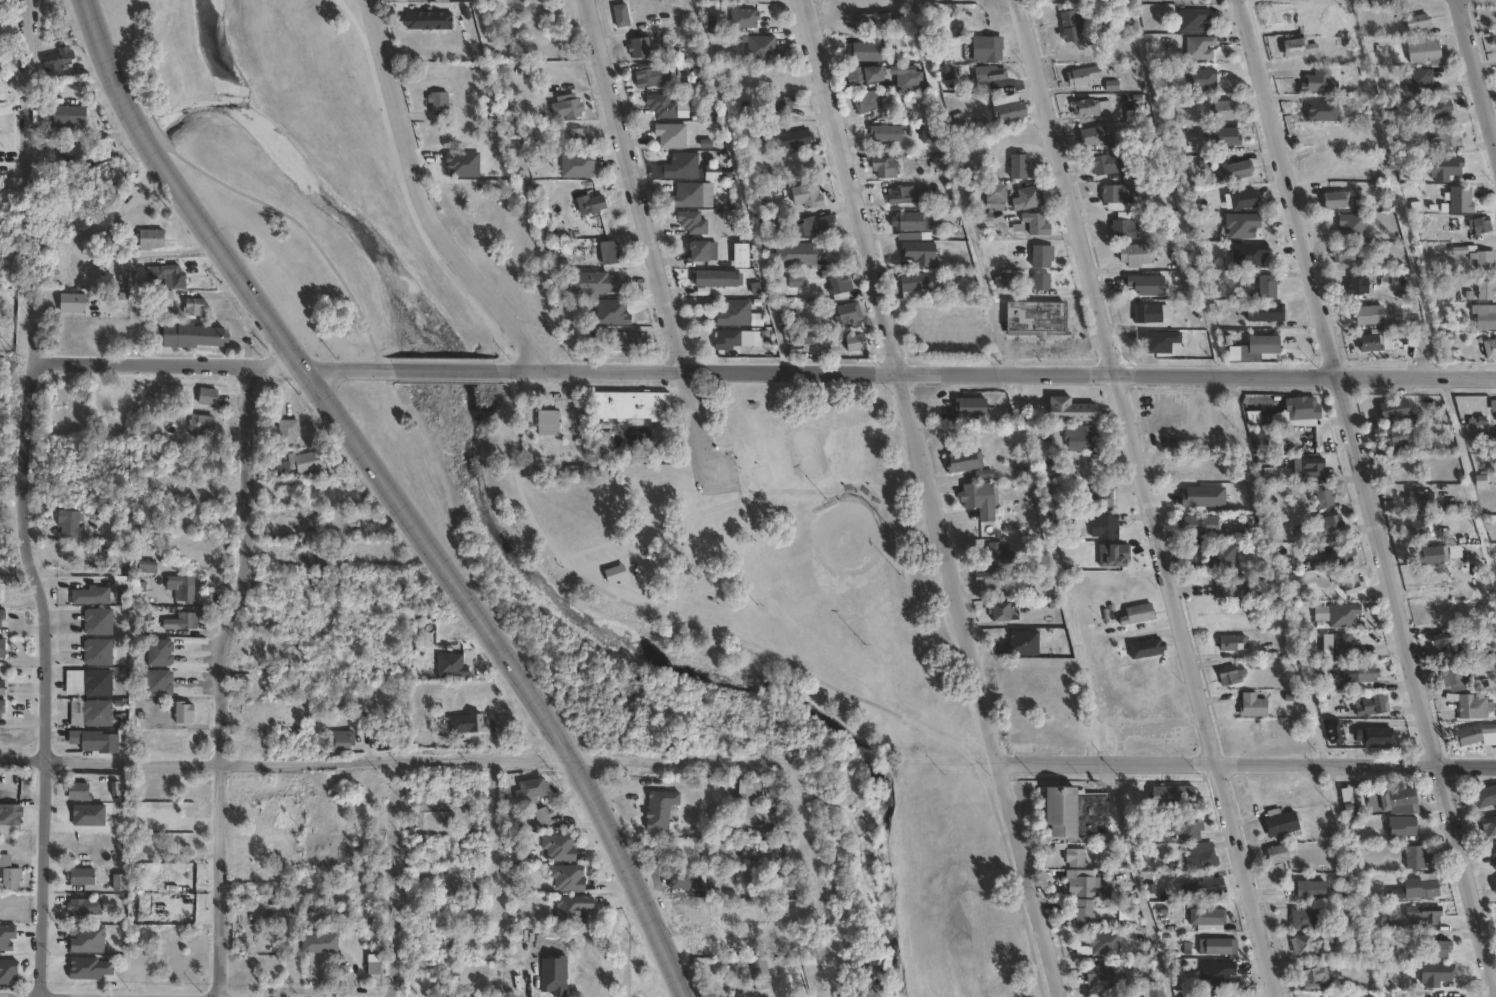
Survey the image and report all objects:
building: (618, 15)
building: (742, 18)
building: (1069, 19)
building: (416, 20)
building: (871, 20)
building: (1193, 20)
building: (1417, 21)
building: (1106, 23)
building: (636, 47)
building: (760, 47)
building: (1199, 47)
building: (1298, 47)
building: (985, 48)
building: (867, 49)
building: (1423, 51)
building: (59, 60)
road: (1477, 70)
building: (988, 73)
building: (863, 74)
building: (909, 74)
building: (1082, 75)
building: (652, 76)
building: (1417, 80)
building: (1318, 81)
road: (28, 86)
building: (866, 100)
building: (435, 103)
building: (659, 105)
building: (781, 105)
building: (1085, 107)
building: (569, 108)
building: (1008, 108)
building: (1315, 108)
building: (1437, 108)
building: (1223, 109)
building: (65, 116)
building: (884, 133)
building: (1329, 134)
building: (669, 135)
building: (1092, 135)
building: (1222, 135)
building: (574, 138)
building: (793, 138)
building: (1449, 138)
building: (72, 156)
building: (1103, 163)
building: (574, 165)
building: (679, 166)
building: (1017, 166)
building: (884, 167)
building: (1124, 169)
park: (298, 170)
building: (1234, 170)
road: (957, 185)
road: (402, 187)
road: (236, 192)
building: (995, 193)
building: (1114, 193)
building: (900, 194)
building: (685, 195)
building: (805, 195)
building: (1029, 197)
building: (1247, 198)
building: (1335, 199)
building: (1459, 200)
road: (422, 201)
building: (589, 204)
building: (903, 221)
building: (690, 222)
building: (1035, 223)
building: (817, 224)
building: (1242, 224)
building: (1479, 224)
building: (1122, 226)
building: (1352, 226)
road: (651, 238)
building: (151, 239)
building: (695, 251)
building: (606, 252)
building: (795, 253)
building: (1344, 253)
building: (1248, 254)
building: (1040, 255)
building: (1135, 255)
building: (1484, 260)
building: (171, 275)
building: (716, 278)
building: (1040, 281)
building: (795, 282)
building: (591, 283)
building: (838, 284)
building: (1145, 284)
building: (1357, 285)
building: (912, 286)
building: (1267, 286)
building: (1485, 290)
road: (1419, 292)
building: (75, 303)
building: (195, 307)
building: (1264, 312)
building: (733, 313)
building: (1149, 313)
building: (1367, 314)
building: (1034, 316)
building: (1484, 316)
building: (849, 317)
building: (1403, 331)
building: (196, 335)
building: (726, 339)
building: (622, 341)
building: (855, 343)
building: (1370, 343)
building: (1264, 345)
building: (1490, 348)
road: (439, 360)
road: (214, 365)
road: (451, 370)
road: (1000, 371)
building: (204, 397)
building: (628, 406)
building: (1493, 406)
building: (968, 407)
building: (1393, 409)
building: (1070, 410)
building: (1305, 411)
building: (1256, 418)
building: (545, 422)
building: (199, 424)
building: (285, 432)
building: (1396, 437)
building: (1083, 438)
building: (606, 444)
park: (804, 453)
building: (968, 462)
building: (306, 464)
building: (1312, 466)
building: (280, 469)
building: (573, 471)
parking lot: (715, 476)
building: (684, 489)
road: (393, 494)
road: (1152, 497)
building: (1325, 497)
building: (1096, 498)
road: (1366, 498)
road: (929, 499)
building: (981, 499)
building: (1418, 501)
road: (719, 505)
building: (350, 522)
building: (1336, 523)
building: (72, 524)
building: (1237, 525)
building: (1106, 526)
building: (1202, 526)
building: (1418, 527)
park: (845, 530)
road: (629, 535)
building: (1000, 555)
building: (1432, 555)
building: (1223, 556)
building: (1343, 558)
building: (146, 567)
building: (990, 579)
building: (1351, 585)
building: (1230, 586)
building: (185, 588)
building: (93, 596)
building: (1002, 610)
building: (1138, 613)
building: (1343, 614)
building: (3, 618)
building: (183, 621)
building: (100, 622)
park: (755, 640)
building: (1447, 641)
building: (1020, 642)
building: (1234, 643)
building: (1351, 646)
building: (2, 647)
building: (1147, 648)
building: (100, 653)
building: (163, 653)
road: (789, 664)
building: (450, 666)
building: (1367, 672)
building: (1458, 674)
building: (1232, 675)
road: (46, 676)
road: (221, 680)
building: (92, 683)
building: (159, 683)
building: (3, 688)
building: (1254, 705)
building: (1470, 705)
building: (1373, 706)
building: (3, 709)
building: (187, 713)
building: (94, 714)
building: (467, 724)
building: (1334, 731)
building: (1474, 733)
building: (1378, 737)
building: (97, 741)
building: (340, 743)
road: (398, 760)
road: (1249, 766)
building: (528, 790)
building: (82, 792)
building: (746, 795)
building: (1174, 796)
building: (1485, 796)
building: (1401, 797)
building: (658, 809)
building: (1274, 809)
building: (1076, 812)
building: (12, 815)
building: (541, 816)
building: (1186, 822)
building: (1489, 825)
building: (1405, 826)
building: (1061, 845)
building: (558, 847)
building: (1204, 855)
building: (1279, 855)
building: (1076, 857)
building: (1416, 857)
building: (11, 874)
building: (85, 877)
road: (388, 878)
road: (495, 878)
building: (567, 878)
building: (723, 879)
building: (687, 880)
building: (769, 882)
building: (122, 883)
building: (1495, 884)
road: (818, 886)
building: (1082, 886)
building: (1212, 886)
building: (1419, 889)
building: (1310, 890)
building: (1188, 891)
building: (292, 906)
building: (85, 907)
building: (571, 908)
building: (1084, 913)
building: (1425, 915)
building: (1211, 916)
building: (1308, 919)
building: (86, 938)
building: (317, 943)
building: (1103, 943)
building: (1308, 943)
building: (1218, 946)
building: (1439, 948)
building: (371, 964)
building: (759, 967)
building: (9, 972)
building: (1100, 972)
building: (1219, 974)
building: (1316, 976)
building: (468, 979)
building: (1151, 992)
building: (1107, 993)
building: (1201, 995)
building: (1337, 996)
building: (1450, 996)

